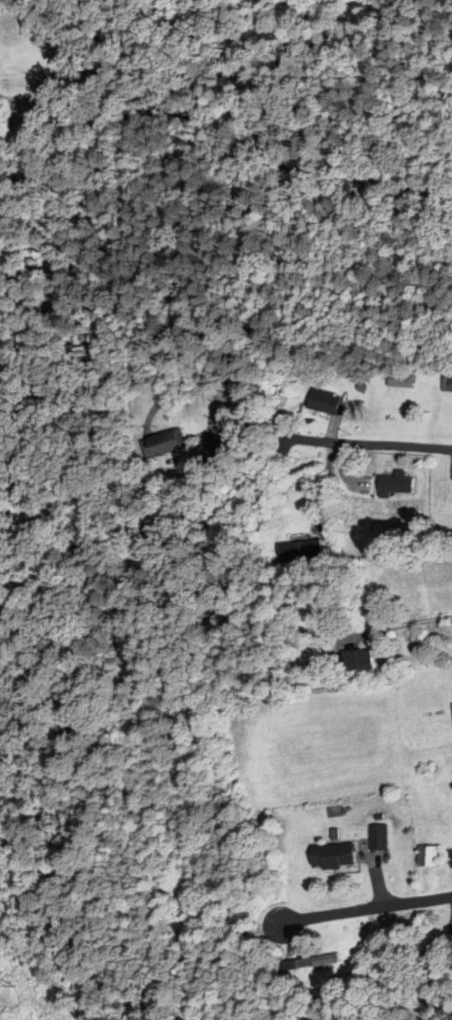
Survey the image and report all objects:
building: (178, 1)
building: (25, 25)
building: (399, 382)
building: (446, 383)
building: (321, 404)
building: (161, 446)
road: (368, 446)
building: (393, 486)
building: (298, 552)
road: (402, 625)
building: (352, 663)
building: (376, 837)
building: (330, 856)
building: (426, 857)
road: (367, 908)
building: (304, 963)
building: (434, 977)

